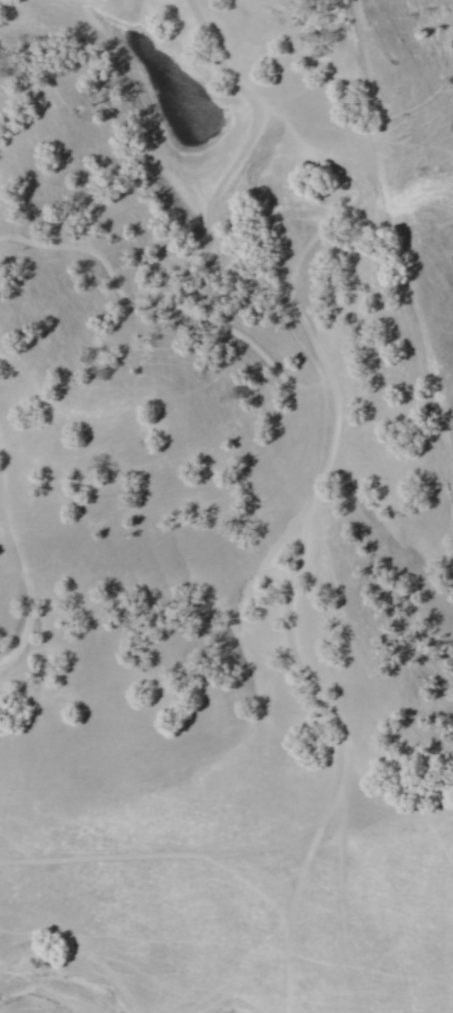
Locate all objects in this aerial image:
road: (243, 163)
road: (309, 543)
road: (25, 551)
road: (187, 855)
road: (345, 900)

